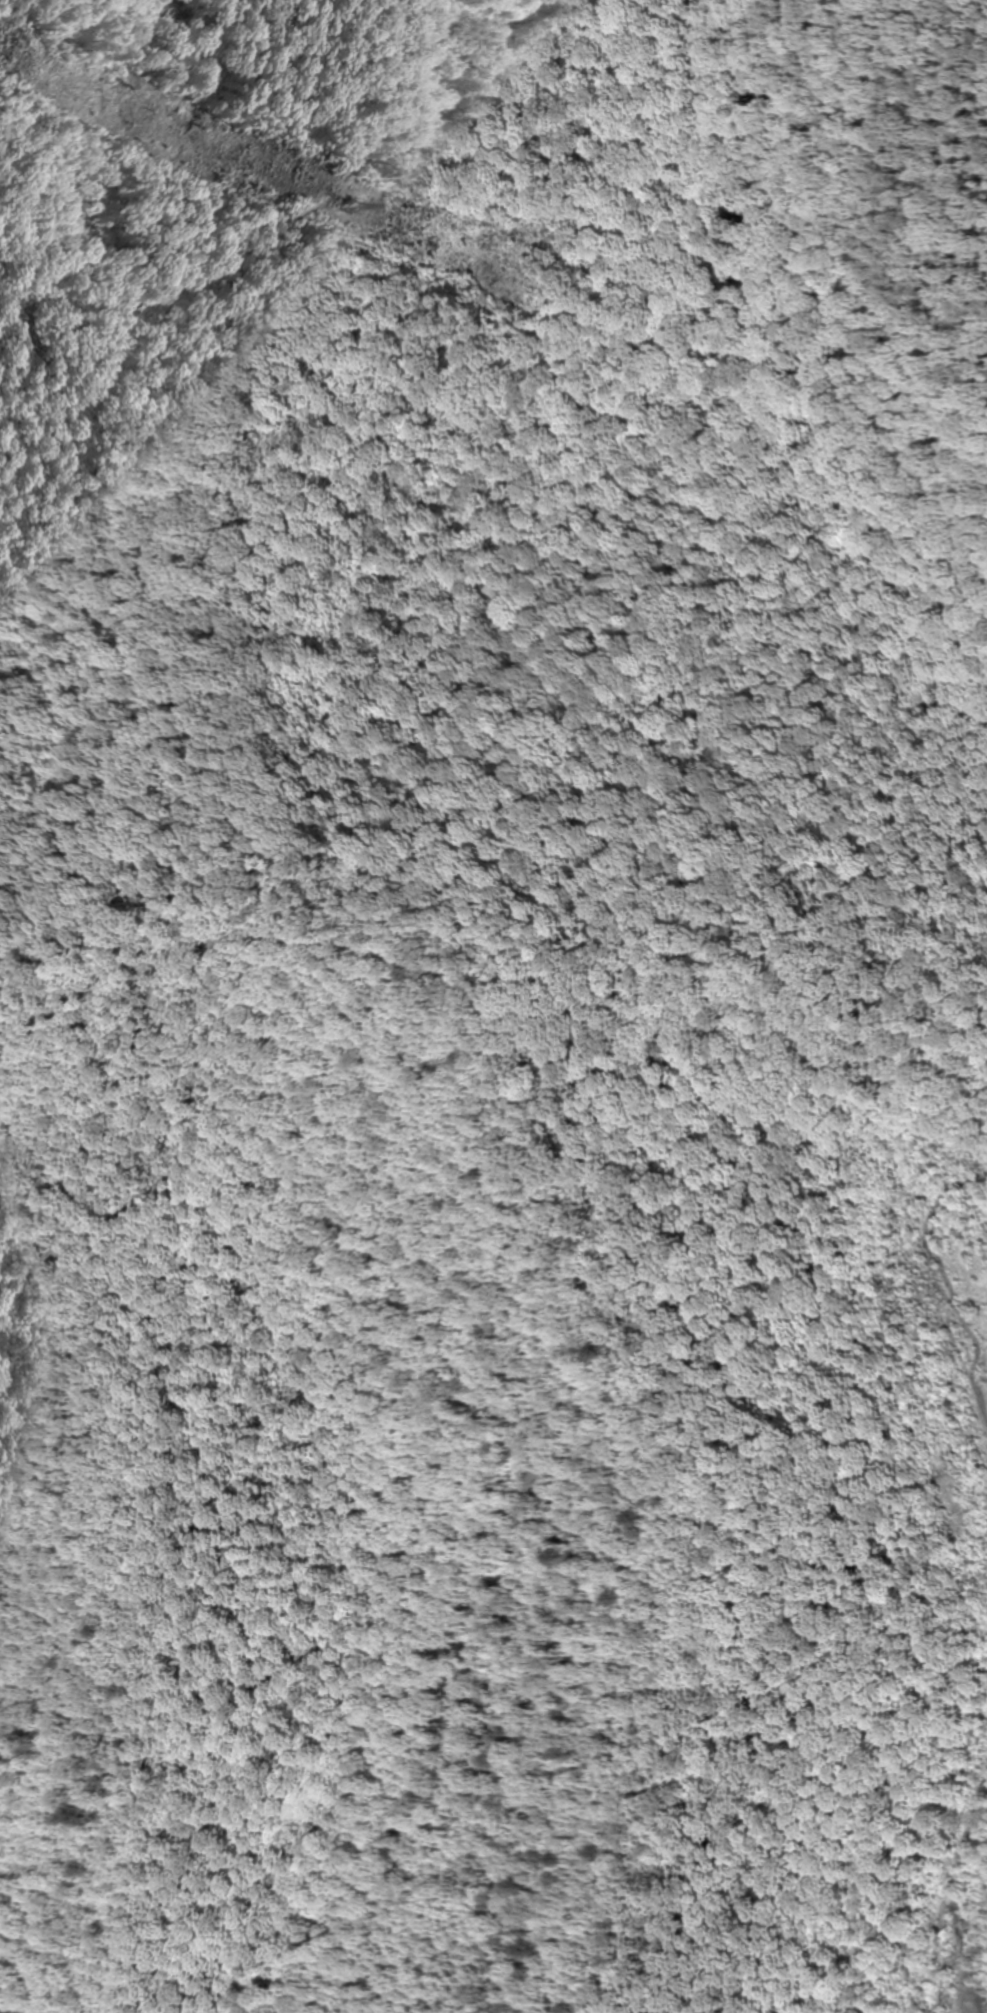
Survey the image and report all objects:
power tower: (354, 207)
road: (908, 980)
road: (467, 1459)
road: (969, 1912)

